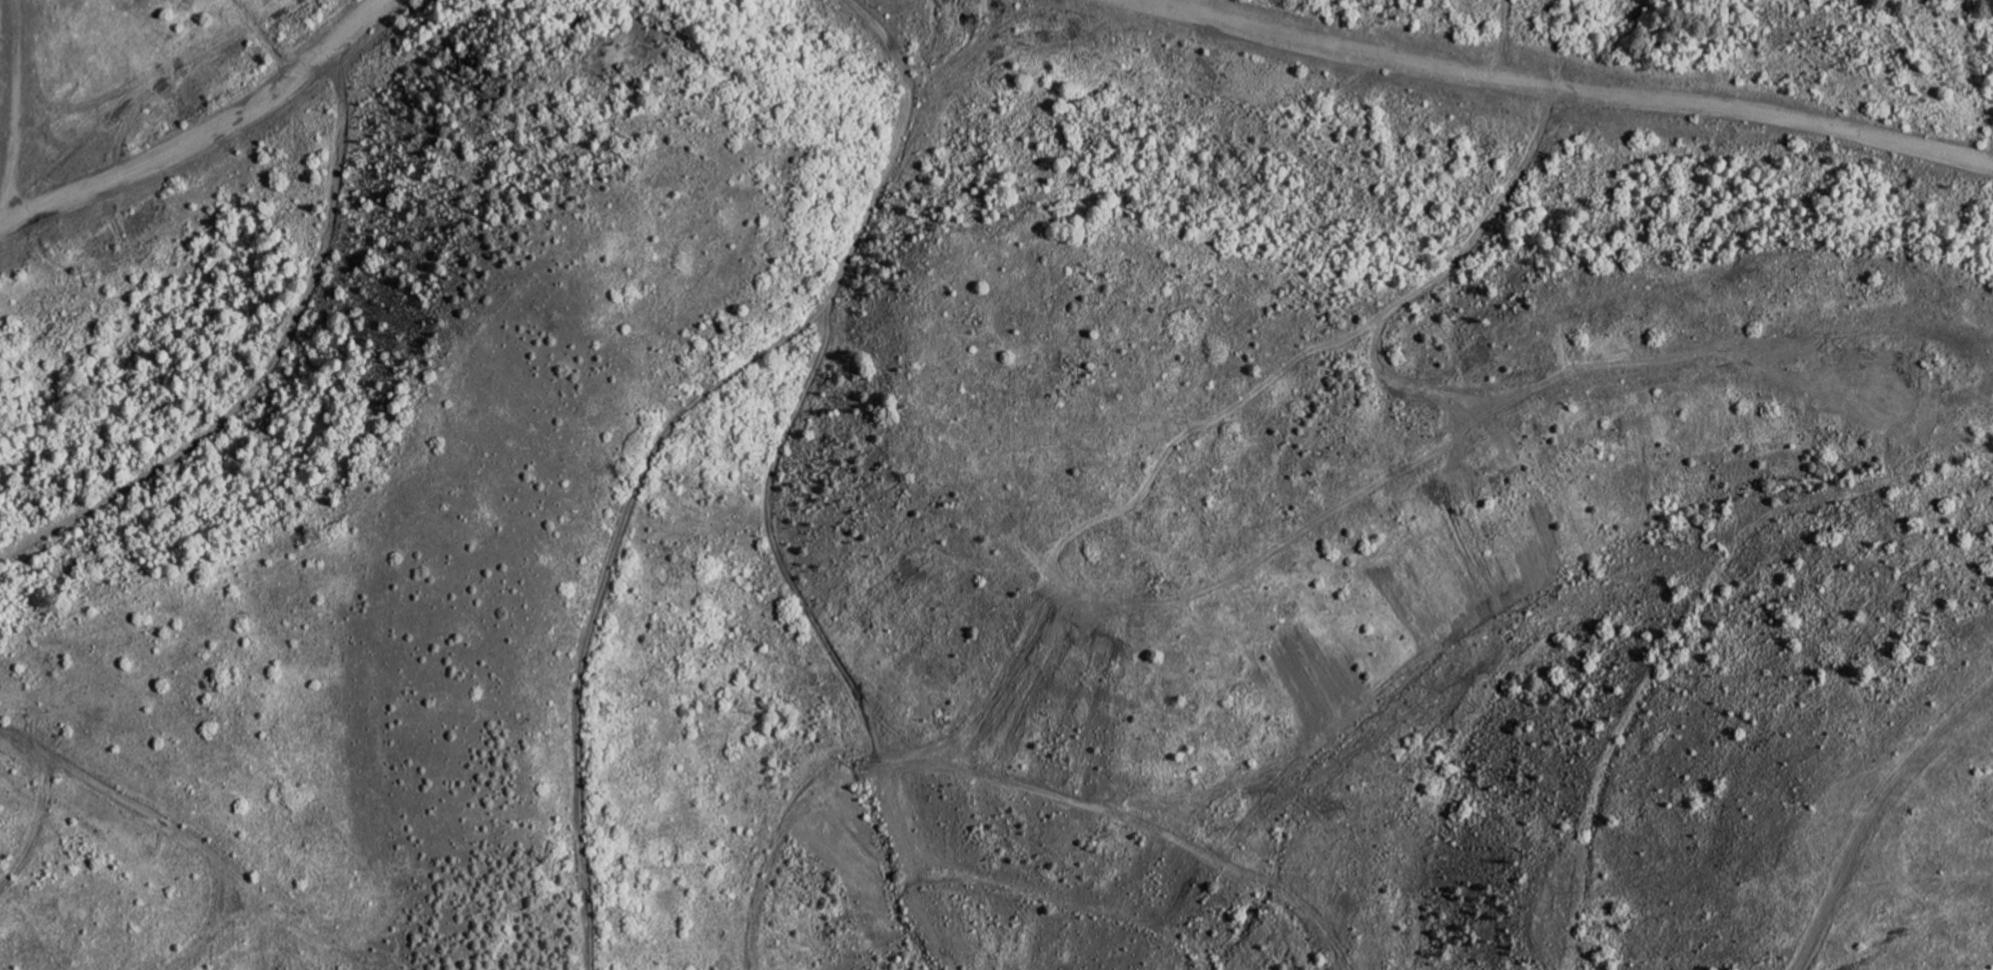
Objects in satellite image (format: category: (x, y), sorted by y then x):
road: (1554, 99)
road: (205, 142)

